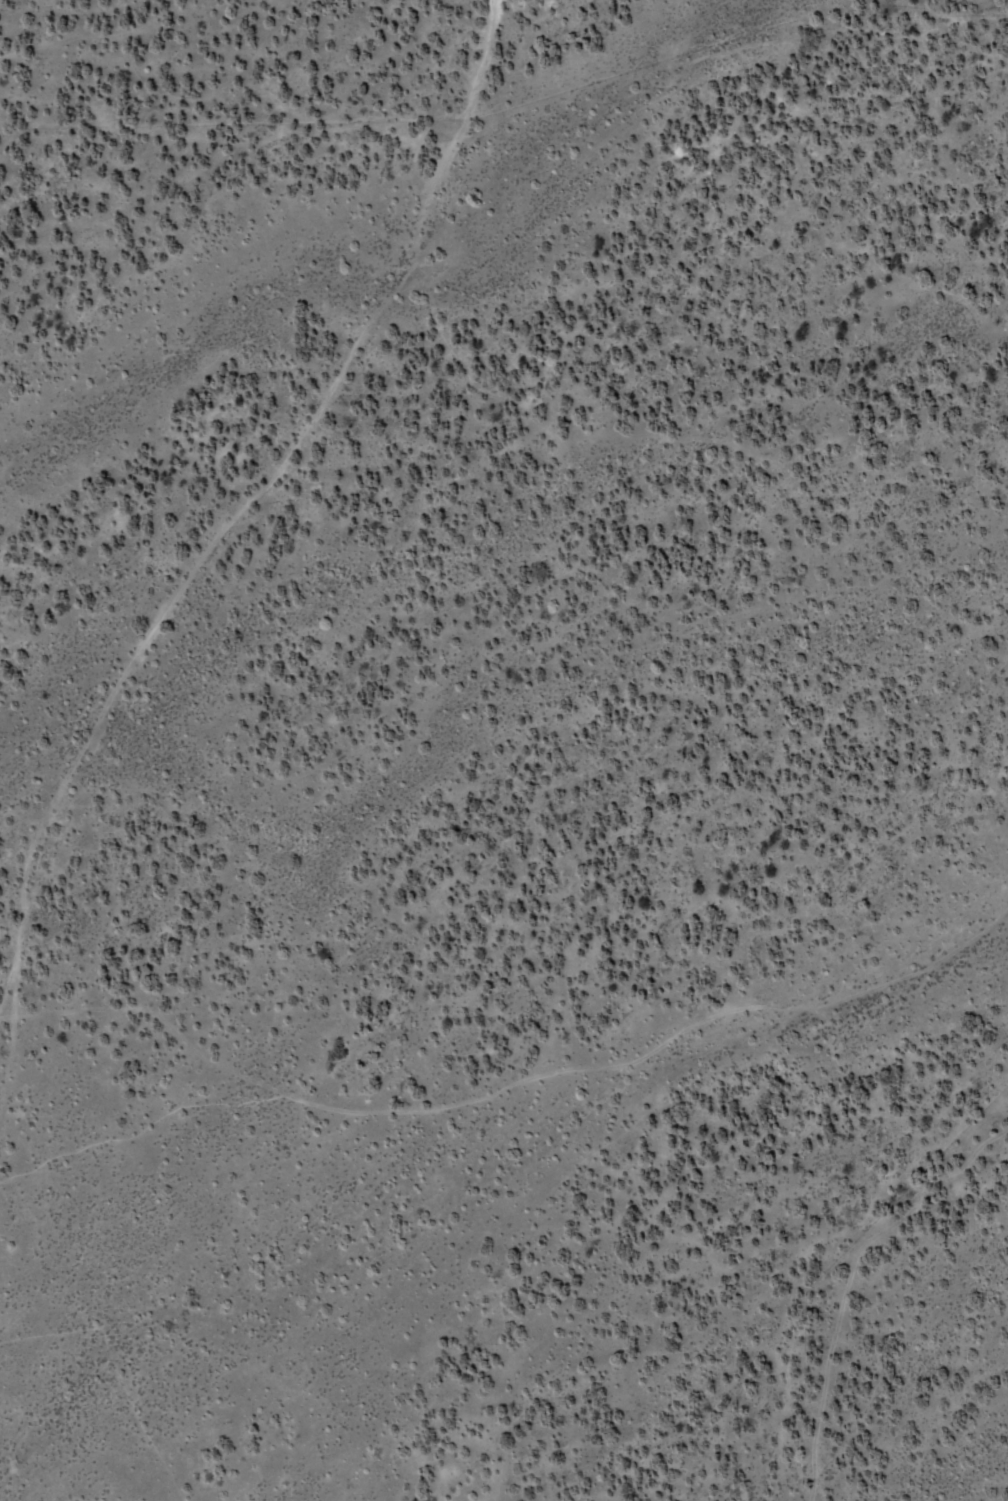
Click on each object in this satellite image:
road: (478, 66)
road: (309, 419)
road: (6, 1015)
road: (515, 1083)

